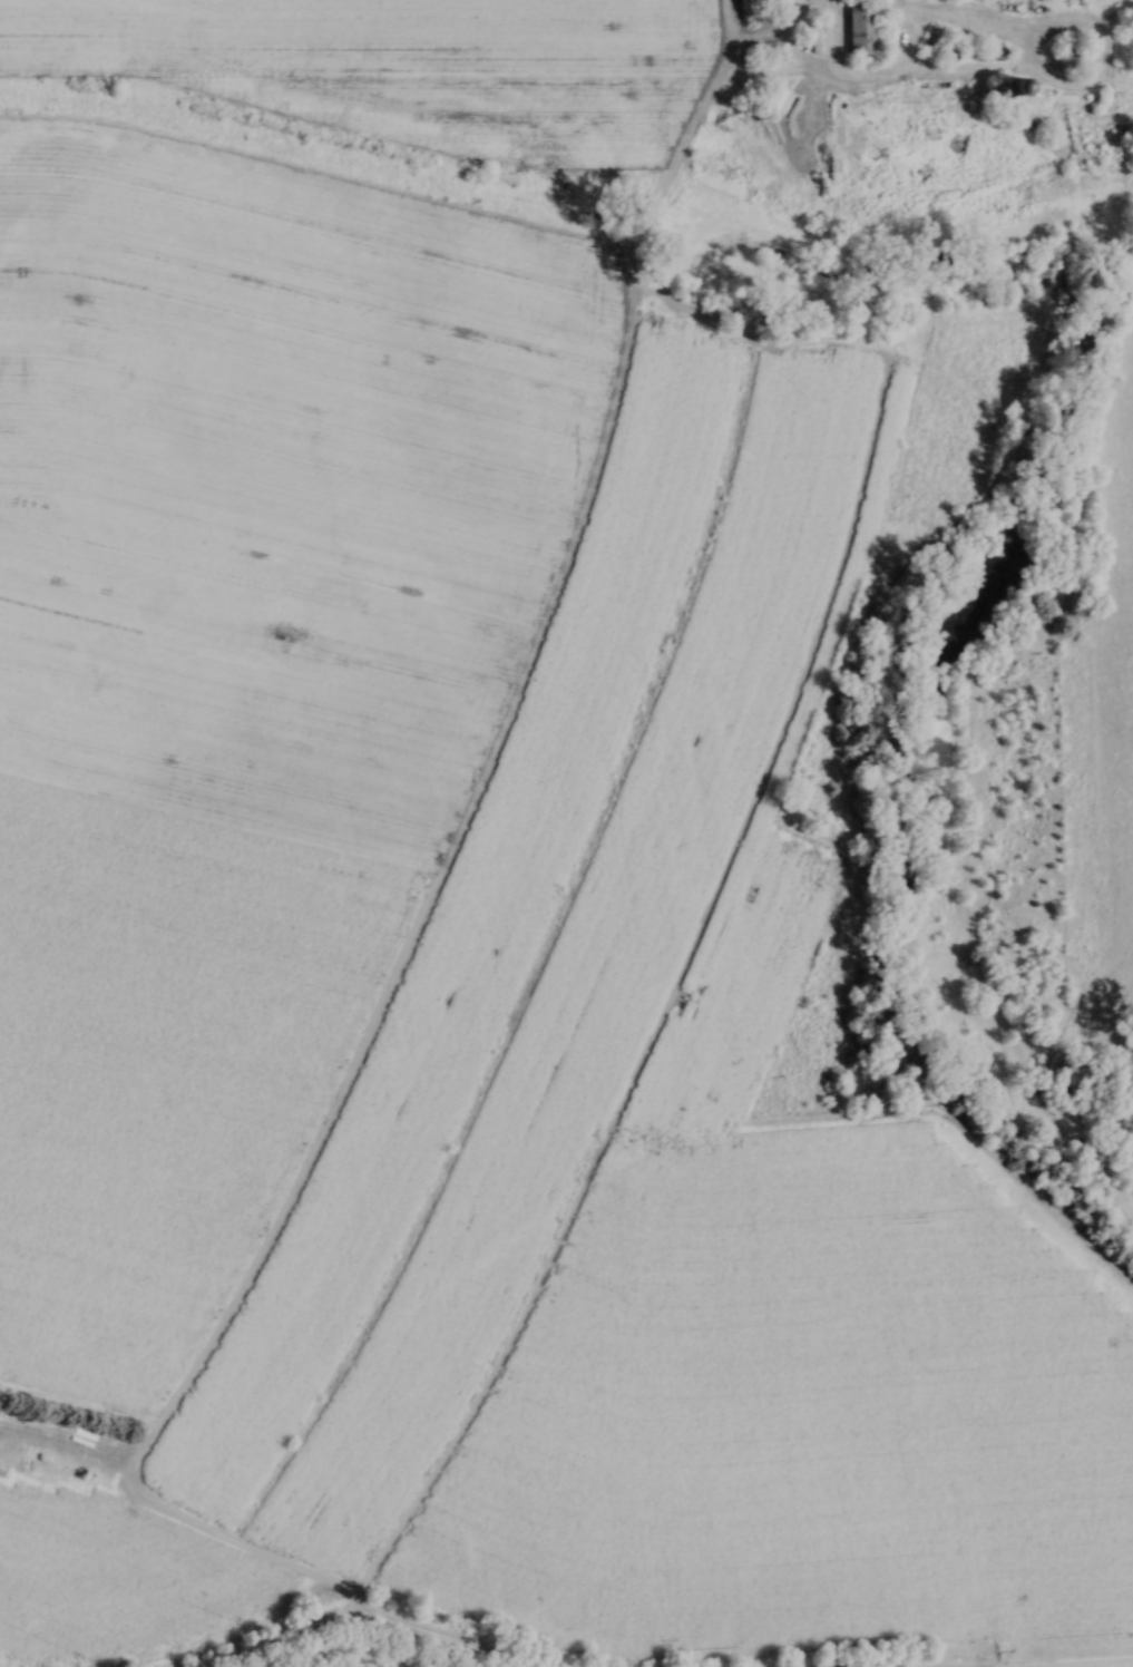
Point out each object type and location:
building: (858, 27)
building: (1012, 87)
river: (1077, 254)

